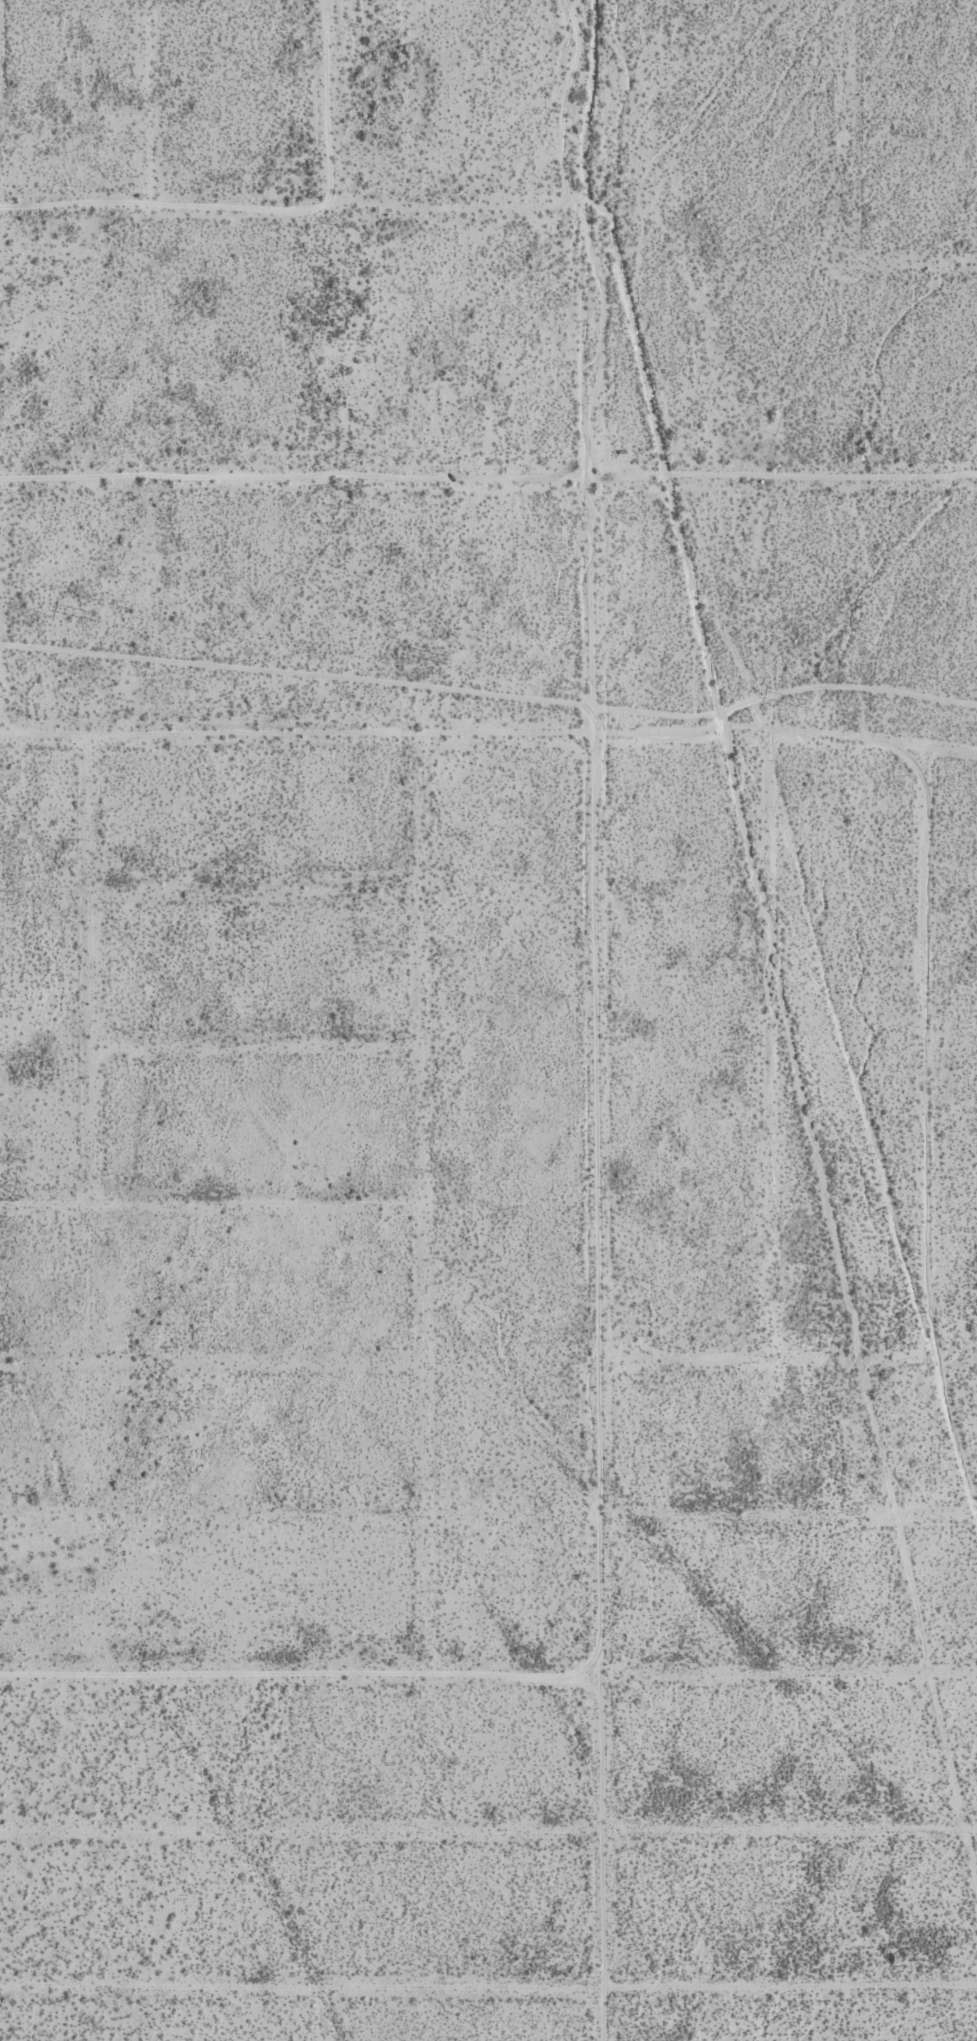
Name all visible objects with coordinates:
road: (145, 112)
road: (326, 112)
road: (852, 193)
road: (488, 477)
road: (0, 688)
road: (490, 695)
road: (490, 734)
road: (730, 761)
road: (253, 886)
road: (89, 966)
road: (776, 1044)
road: (846, 1044)
road: (255, 1046)
road: (595, 1105)
road: (927, 1133)
road: (205, 1201)
road: (421, 1204)
road: (786, 1357)
road: (211, 1365)
road: (788, 1510)
road: (212, 1516)
road: (207, 1597)
road: (488, 1672)
road: (488, 1831)
road: (488, 1985)

